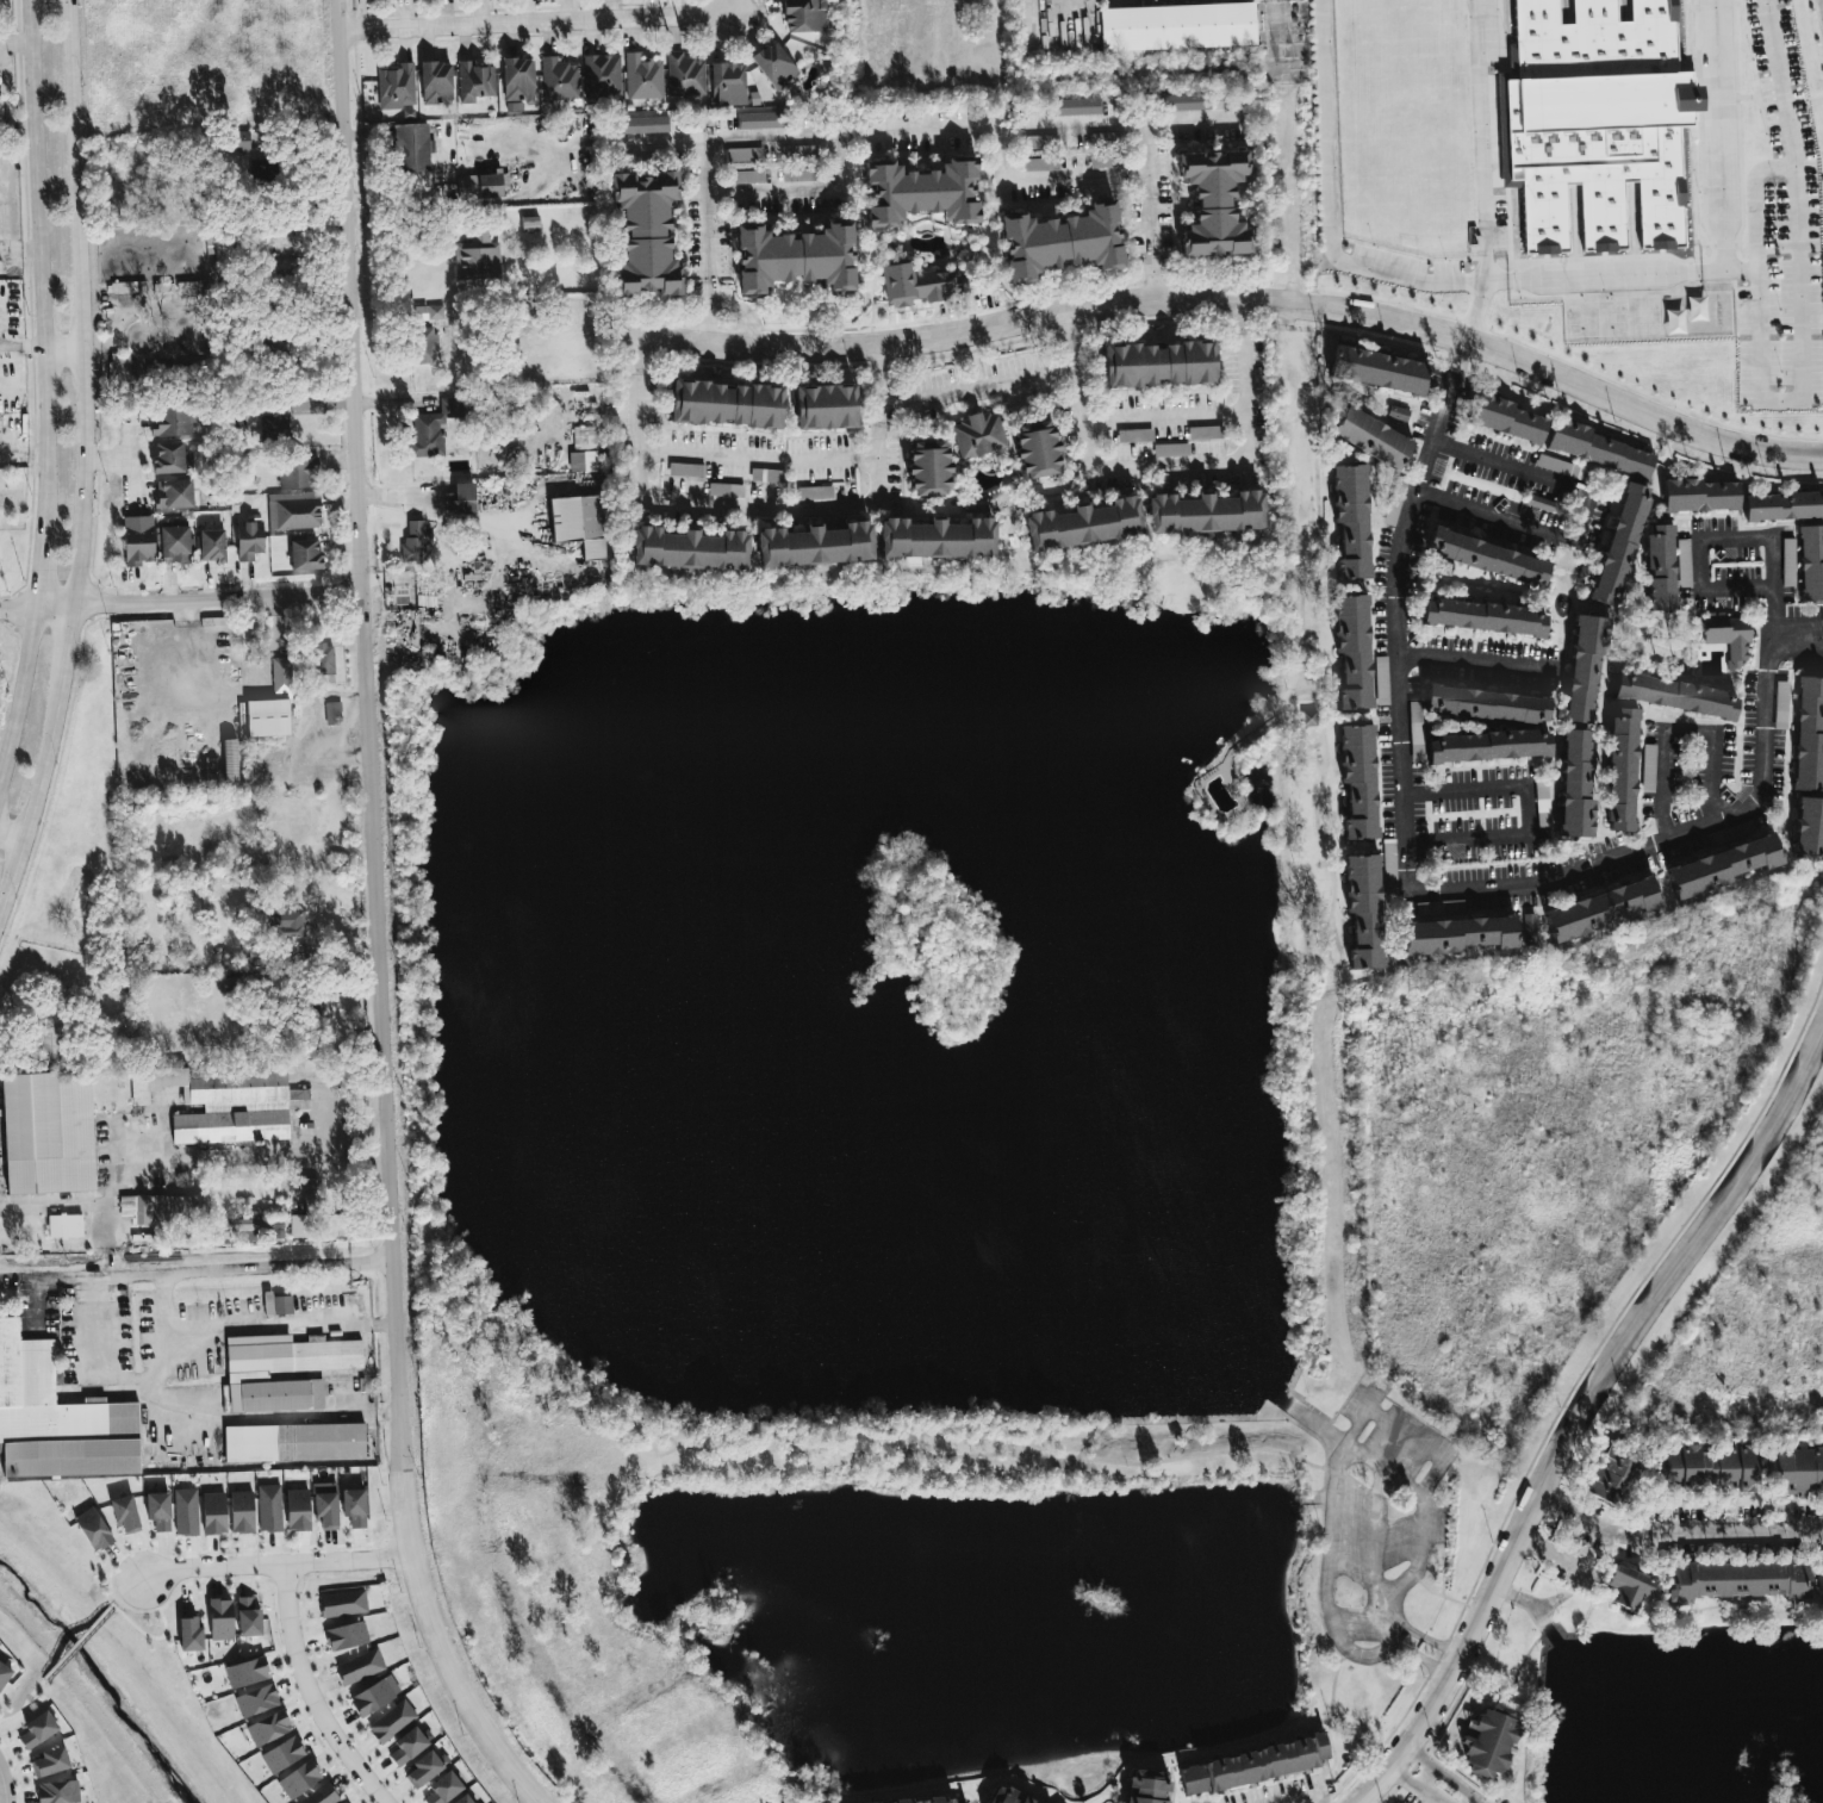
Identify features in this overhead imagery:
road: (727, 8)
building: (804, 15)
road: (534, 24)
building: (1174, 27)
road: (1271, 37)
building: (774, 66)
building: (684, 75)
building: (601, 77)
building: (642, 77)
building: (517, 80)
building: (559, 80)
building: (475, 81)
building: (436, 82)
building: (727, 83)
building: (396, 87)
building: (1186, 102)
building: (1077, 106)
building: (0, 118)
building: (760, 120)
building: (1598, 122)
building: (645, 125)
road: (1180, 128)
road: (939, 135)
road: (1716, 136)
building: (1103, 139)
building: (239, 141)
building: (1040, 142)
building: (411, 148)
building: (798, 151)
building: (743, 154)
building: (1103, 162)
building: (1040, 164)
building: (799, 174)
building: (746, 176)
road: (1057, 181)
building: (479, 186)
building: (921, 192)
road: (803, 203)
building: (1213, 203)
road: (1753, 203)
road: (707, 212)
building: (529, 224)
building: (646, 234)
building: (1062, 242)
building: (222, 254)
building: (477, 257)
building: (795, 257)
road: (1694, 275)
road: (1157, 281)
building: (919, 284)
road: (1227, 297)
road: (709, 311)
road: (741, 313)
road: (1246, 315)
road: (1474, 315)
building: (422, 346)
road: (1068, 349)
road: (63, 353)
road: (636, 356)
building: (1158, 365)
building: (119, 366)
building: (1377, 371)
road: (885, 380)
road: (43, 386)
road: (1451, 388)
road: (973, 397)
building: (726, 404)
building: (826, 406)
building: (1398, 414)
road: (1164, 418)
building: (1505, 418)
building: (261, 419)
building: (173, 421)
building: (433, 429)
building: (978, 435)
building: (1134, 435)
building: (1371, 437)
building: (1037, 449)
building: (1171, 449)
building: (1595, 449)
building: (583, 450)
road: (85, 458)
building: (168, 458)
road: (129, 459)
road: (760, 461)
road: (107, 462)
building: (1558, 467)
building: (928, 468)
building: (685, 470)
road: (1184, 470)
building: (297, 472)
road: (1319, 478)
building: (724, 490)
building: (814, 493)
building: (173, 495)
building: (1698, 496)
building: (461, 498)
road: (740, 505)
building: (1782, 506)
building: (1392, 510)
building: (293, 511)
road: (440, 512)
building: (1205, 514)
road: (1589, 514)
building: (1351, 521)
building: (579, 523)
building: (1083, 524)
road: (1705, 536)
building: (937, 539)
building: (137, 540)
building: (249, 540)
building: (416, 541)
building: (174, 545)
building: (1619, 545)
building: (212, 546)
building: (814, 546)
building: (687, 549)
building: (304, 554)
building: (1487, 558)
building: (1682, 562)
building: (1787, 562)
building: (1810, 562)
building: (1660, 567)
road: (180, 601)
building: (1483, 617)
road: (1692, 620)
road: (1804, 624)
building: (1728, 638)
road: (1799, 645)
building: (1352, 651)
building: (324, 659)
road: (1482, 659)
building: (1582, 670)
building: (1674, 696)
road: (366, 698)
building: (1486, 704)
building: (272, 705)
building: (1780, 705)
building: (331, 713)
building: (1308, 719)
road: (1295, 730)
building: (1416, 732)
building: (1809, 734)
road: (1253, 735)
building: (1487, 746)
road: (1719, 750)
building: (230, 757)
building: (1620, 770)
building: (1358, 781)
road: (1669, 782)
building: (1575, 783)
road: (1532, 807)
road: (1321, 820)
building: (1809, 827)
road: (12, 838)
road: (1567, 840)
road: (1388, 847)
building: (1721, 866)
building: (1389, 869)
road: (1473, 888)
building: (1441, 908)
building: (1601, 909)
building: (1363, 910)
building: (284, 925)
building: (1528, 930)
building: (1457, 935)
road: (1324, 944)
building: (51, 1045)
building: (224, 1103)
road: (322, 1112)
building: (48, 1133)
road: (257, 1157)
building: (164, 1210)
building: (64, 1226)
building: (299, 1226)
building: (257, 1229)
road: (256, 1272)
road: (55, 1279)
building: (278, 1305)
road: (385, 1324)
road: (268, 1330)
road: (163, 1338)
road: (111, 1347)
building: (282, 1370)
road: (387, 1415)
road: (259, 1418)
building: (57, 1419)
road: (1355, 1423)
road: (1587, 1423)
building: (294, 1443)
building: (1685, 1467)
road: (1382, 1468)
building: (1740, 1468)
building: (1799, 1469)
building: (354, 1507)
building: (269, 1509)
building: (297, 1510)
building: (325, 1510)
building: (157, 1511)
road: (1563, 1511)
building: (185, 1512)
building: (241, 1512)
building: (213, 1513)
building: (125, 1515)
parking lot: (1379, 1523)
building: (92, 1529)
road: (1699, 1538)
road: (1376, 1540)
road: (275, 1565)
building: (1736, 1580)
building: (1819, 1584)
building: (1629, 1587)
building: (342, 1603)
road: (425, 1614)
building: (248, 1616)
building: (220, 1619)
road: (1383, 1621)
road: (1390, 1629)
road: (160, 1634)
building: (189, 1634)
building: (346, 1636)
road: (77, 1645)
building: (359, 1667)
building: (245, 1673)
building: (4, 1674)
road: (315, 1691)
building: (374, 1696)
building: (256, 1701)
road: (23, 1705)
building: (391, 1721)
building: (268, 1728)
building: (37, 1730)
building: (1489, 1741)
building: (406, 1747)
building: (282, 1754)
building: (50, 1762)
building: (1252, 1765)
building: (425, 1768)
building: (299, 1779)
building: (1147, 1786)
road: (5, 1788)
building: (441, 1789)
road: (1414, 1790)
building: (56, 1792)
building: (322, 1795)
building: (1002, 1796)
building: (463, 1799)
building: (939, 1799)
building: (1025, 1799)
building: (909, 1801)
road: (1309, 1801)
building: (343, 1802)
building: (841, 1802)
building: (871, 1802)

